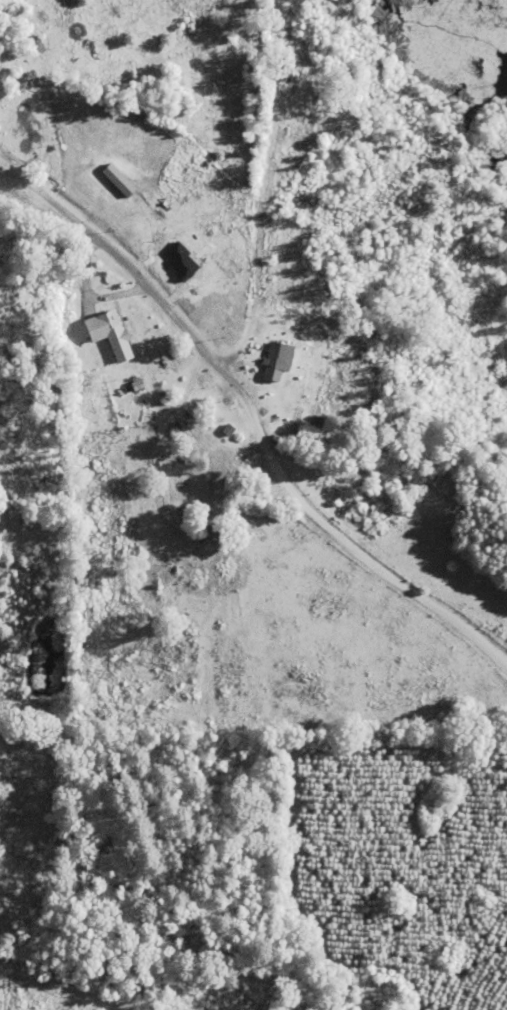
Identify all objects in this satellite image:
road: (250, 187)
road: (253, 421)
road: (413, 786)

